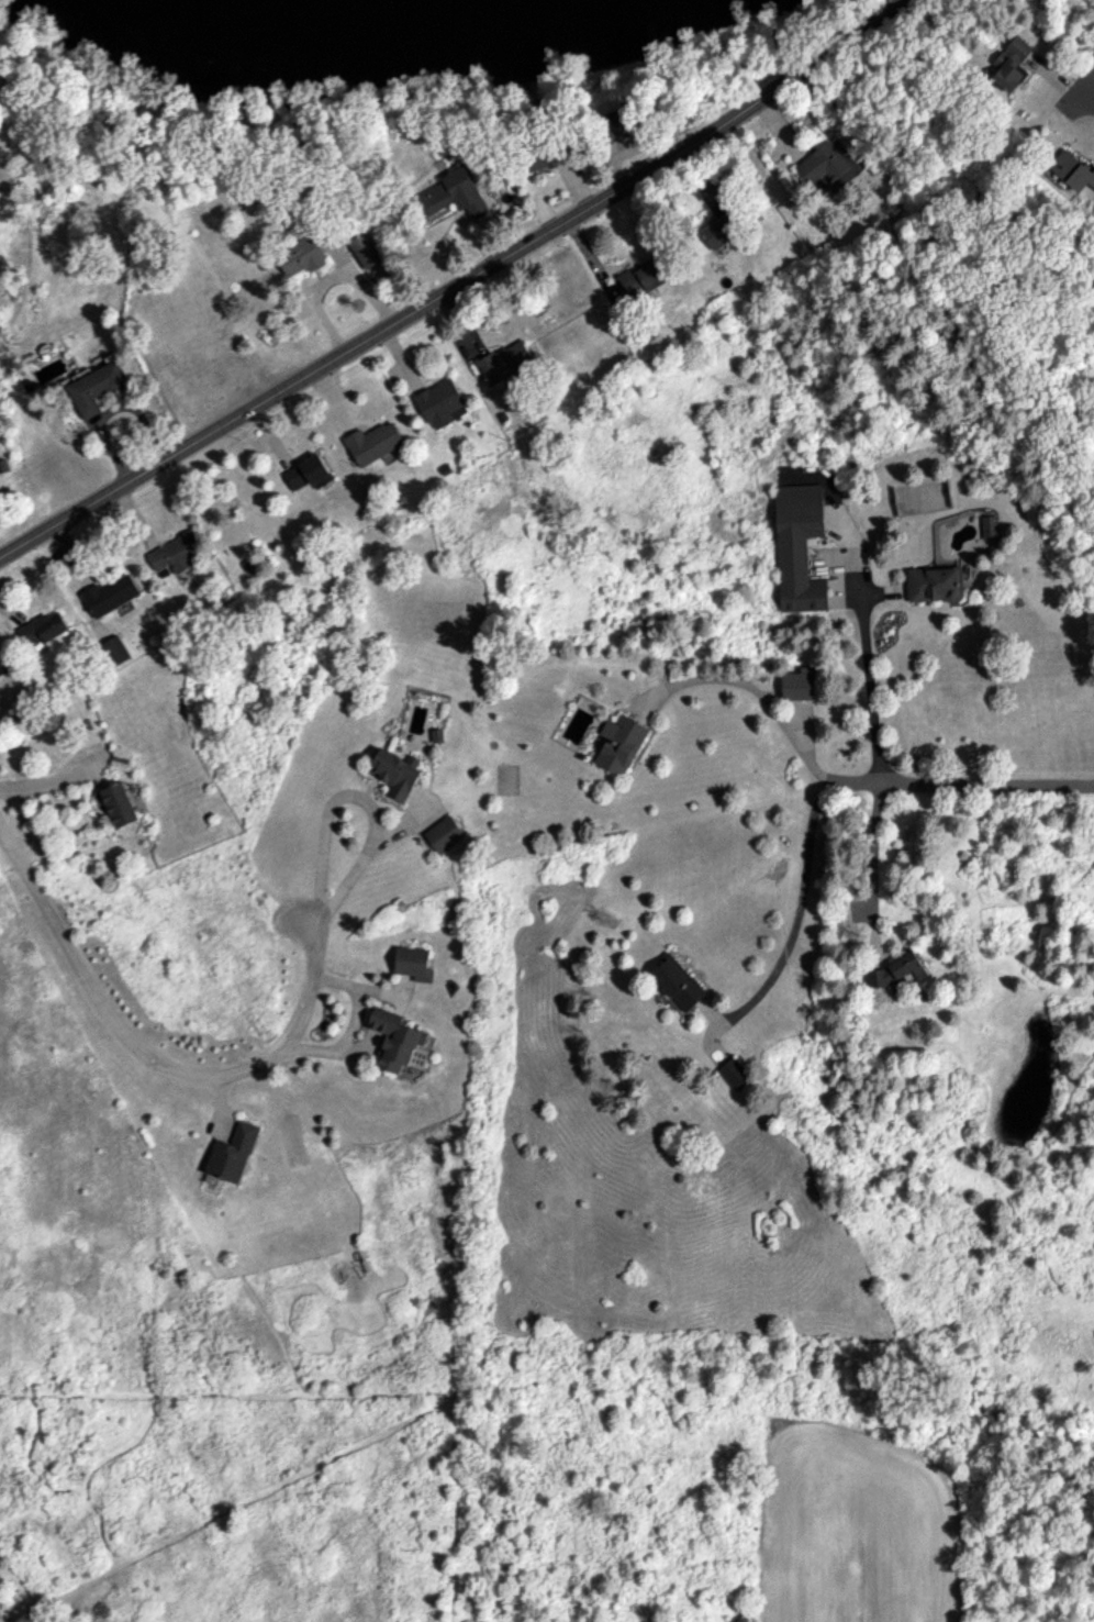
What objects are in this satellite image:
river: (353, 32)
building: (1013, 64)
road: (1084, 87)
building: (617, 122)
building: (546, 157)
building: (829, 165)
building: (1072, 169)
building: (455, 195)
building: (722, 230)
building: (365, 249)
building: (302, 256)
road: (328, 277)
building: (643, 277)
road: (456, 292)
building: (505, 362)
building: (96, 388)
building: (442, 402)
building: (373, 442)
building: (308, 473)
building: (916, 496)
building: (990, 526)
building: (800, 546)
building: (176, 554)
building: (935, 584)
building: (111, 593)
building: (43, 627)
building: (115, 651)
building: (3, 663)
building: (800, 684)
road: (753, 687)
road: (871, 690)
building: (619, 743)
building: (397, 773)
road: (958, 788)
road: (366, 801)
building: (118, 803)
building: (445, 834)
road: (872, 870)
road: (799, 918)
building: (414, 963)
building: (897, 969)
building: (678, 982)
road: (349, 1022)
building: (398, 1041)
road: (154, 1062)
building: (735, 1074)
building: (233, 1153)
crop: (855, 1532)

